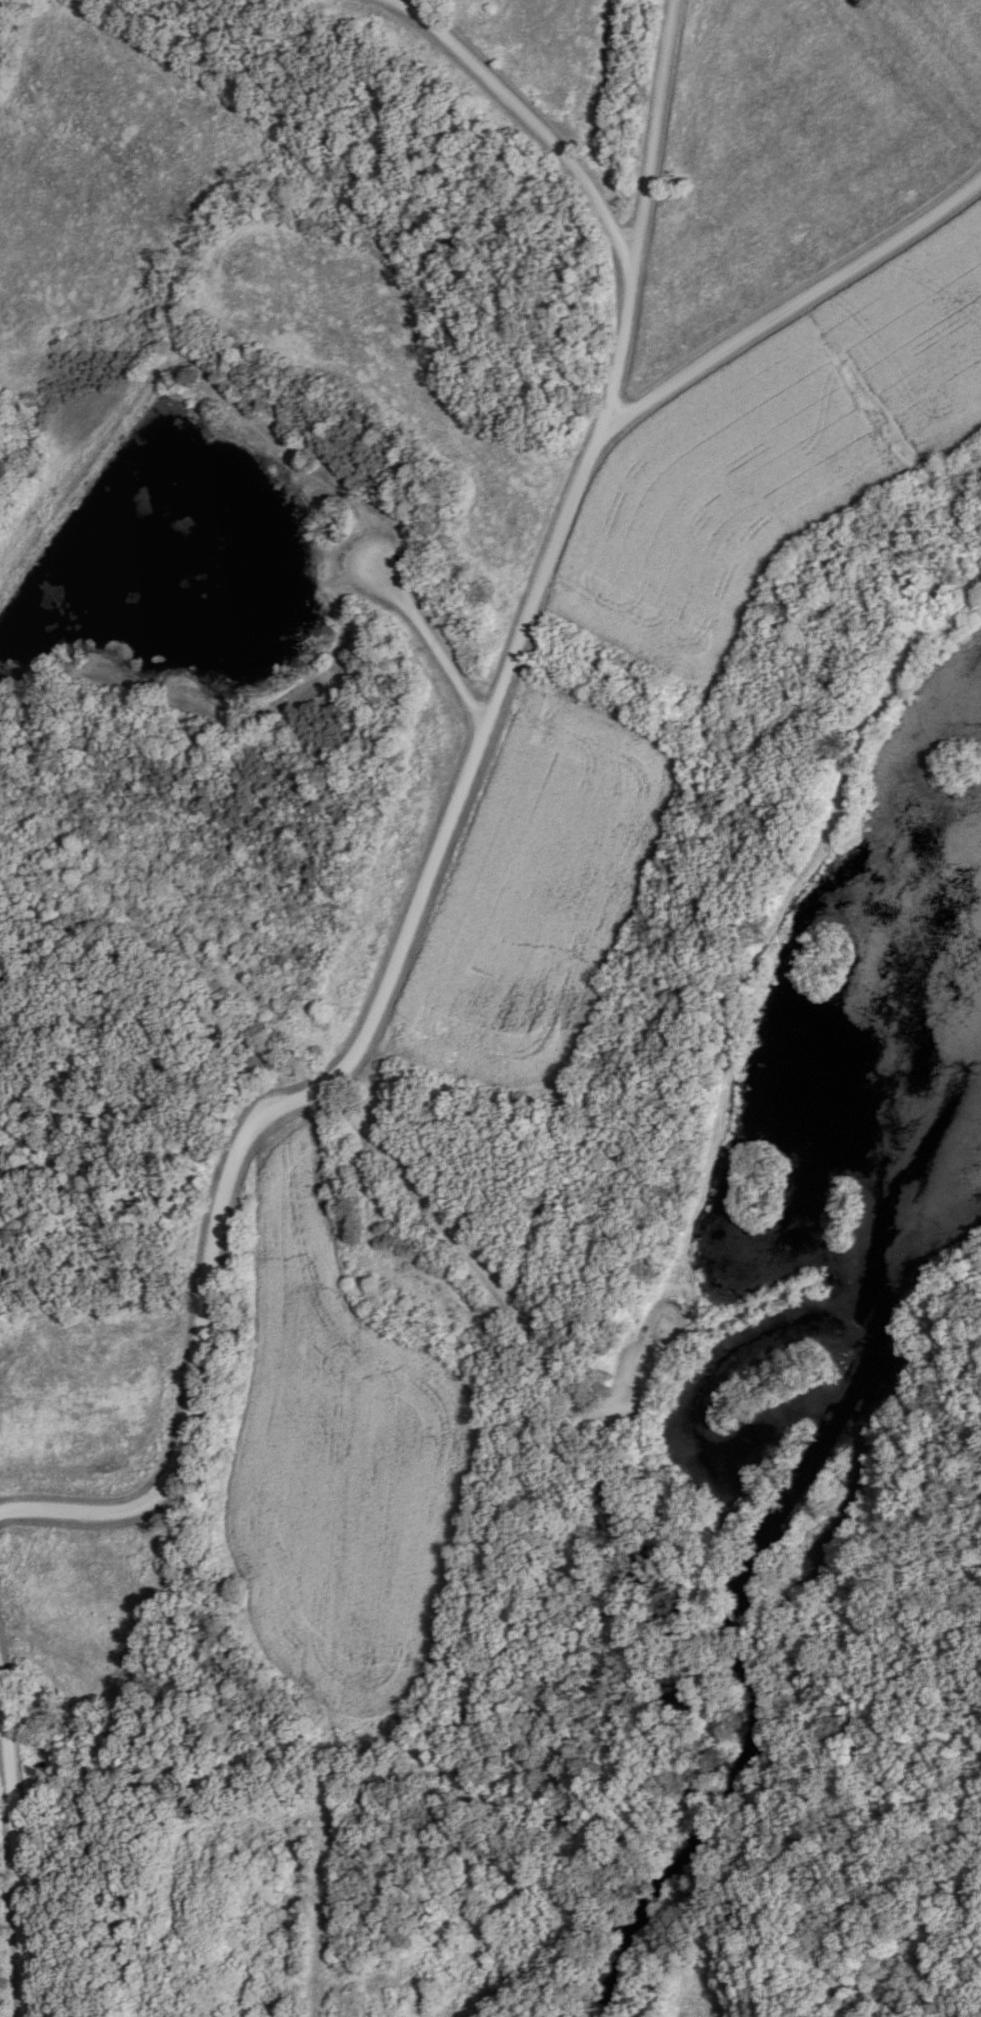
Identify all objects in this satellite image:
road: (409, 3)
road: (521, 117)
road: (794, 306)
dam: (87, 487)
road: (428, 854)
road: (158, 984)
road: (482, 1269)
parking lot: (639, 1372)
road: (657, 1513)
road: (734, 1617)
road: (764, 1652)
road: (17, 1844)

